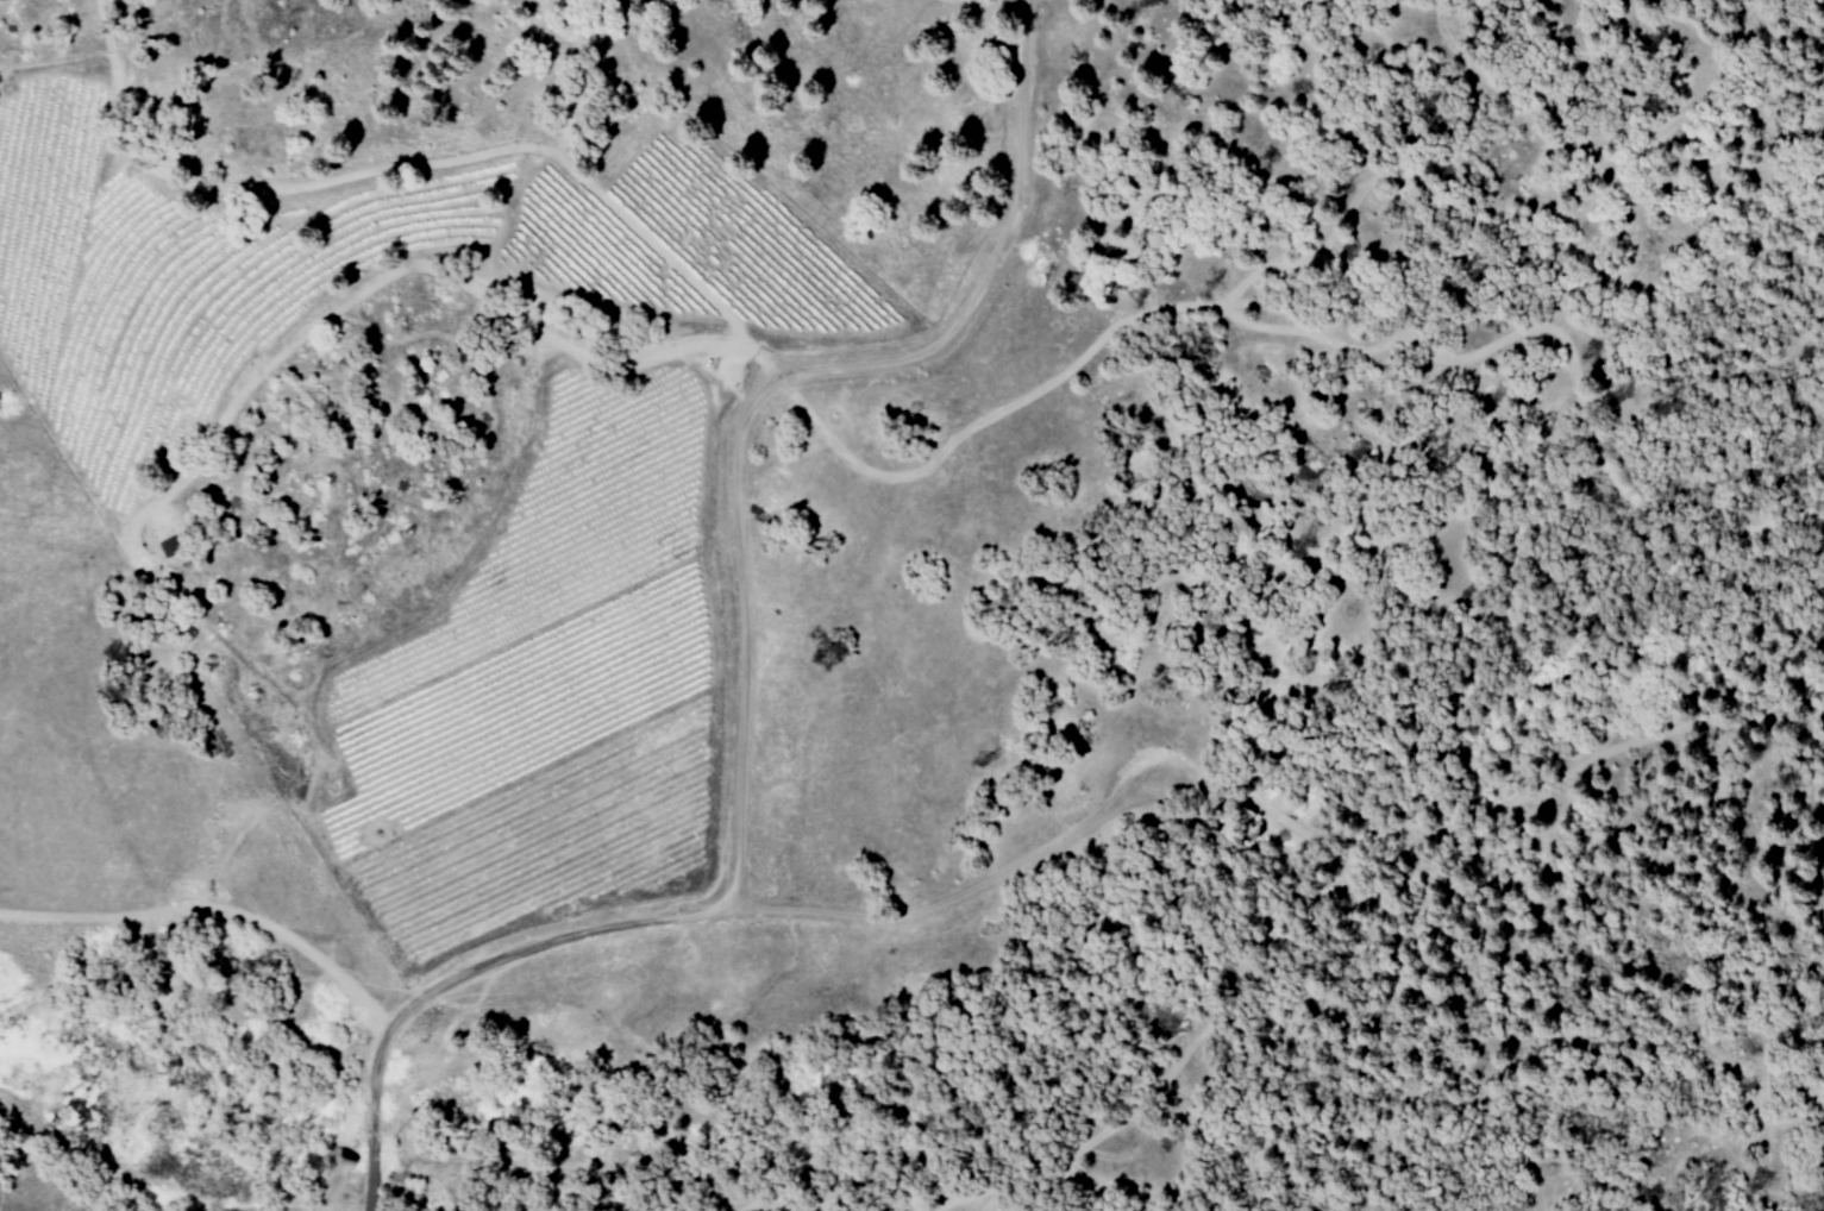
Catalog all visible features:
crop: (612, 501)
building: (174, 546)
road: (370, 1194)

